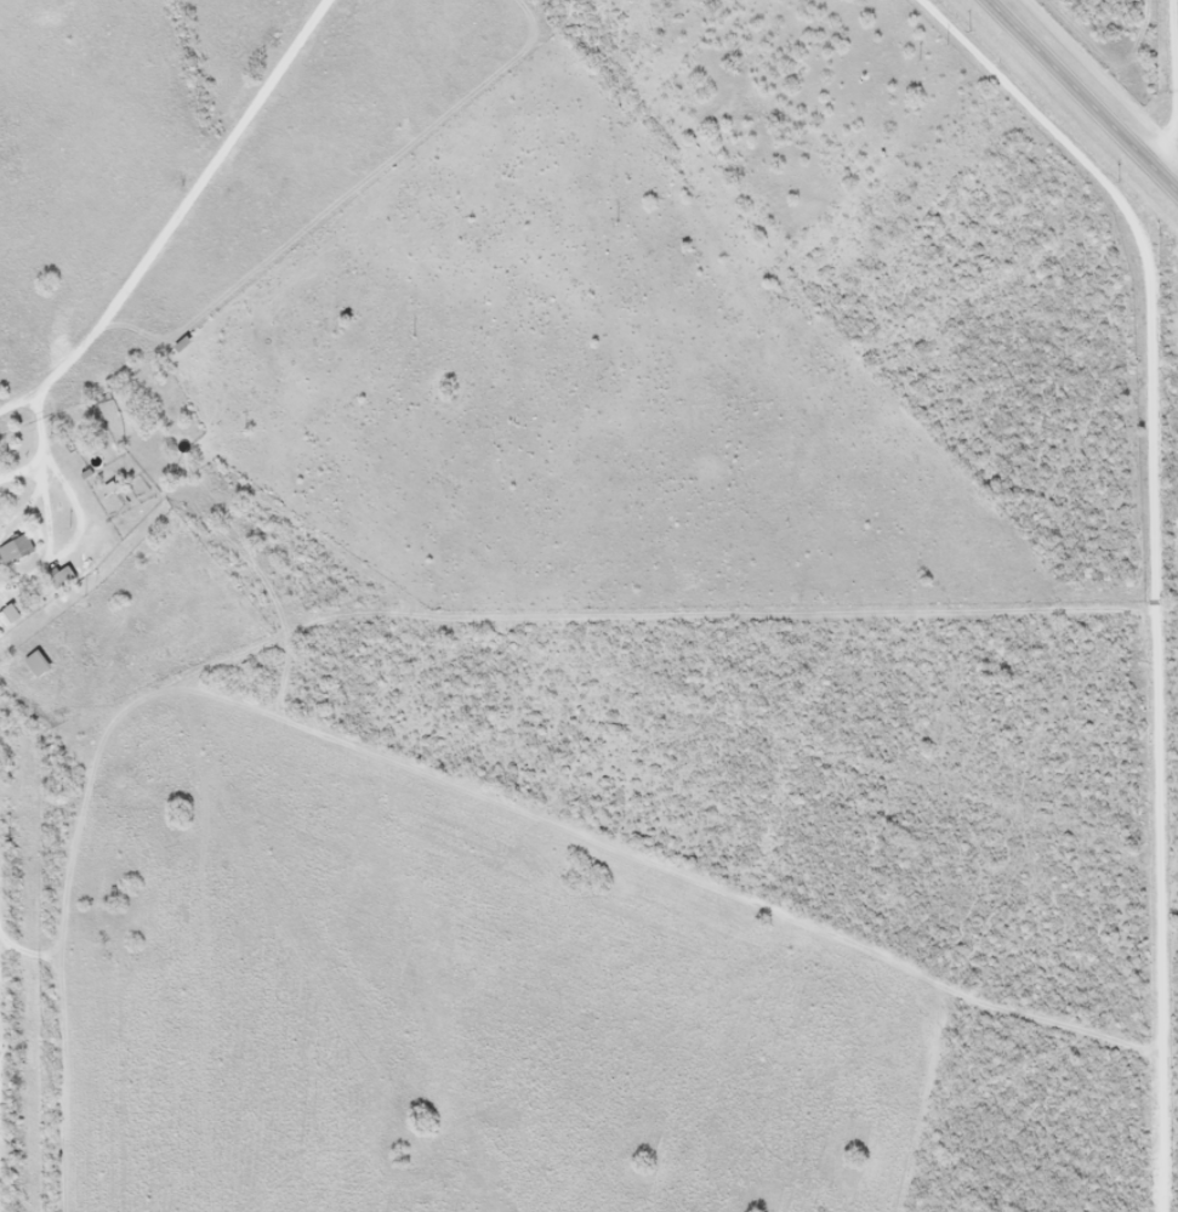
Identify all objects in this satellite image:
road: (1079, 103)
road: (178, 247)
building: (15, 548)
building: (34, 664)
road: (40, 955)

